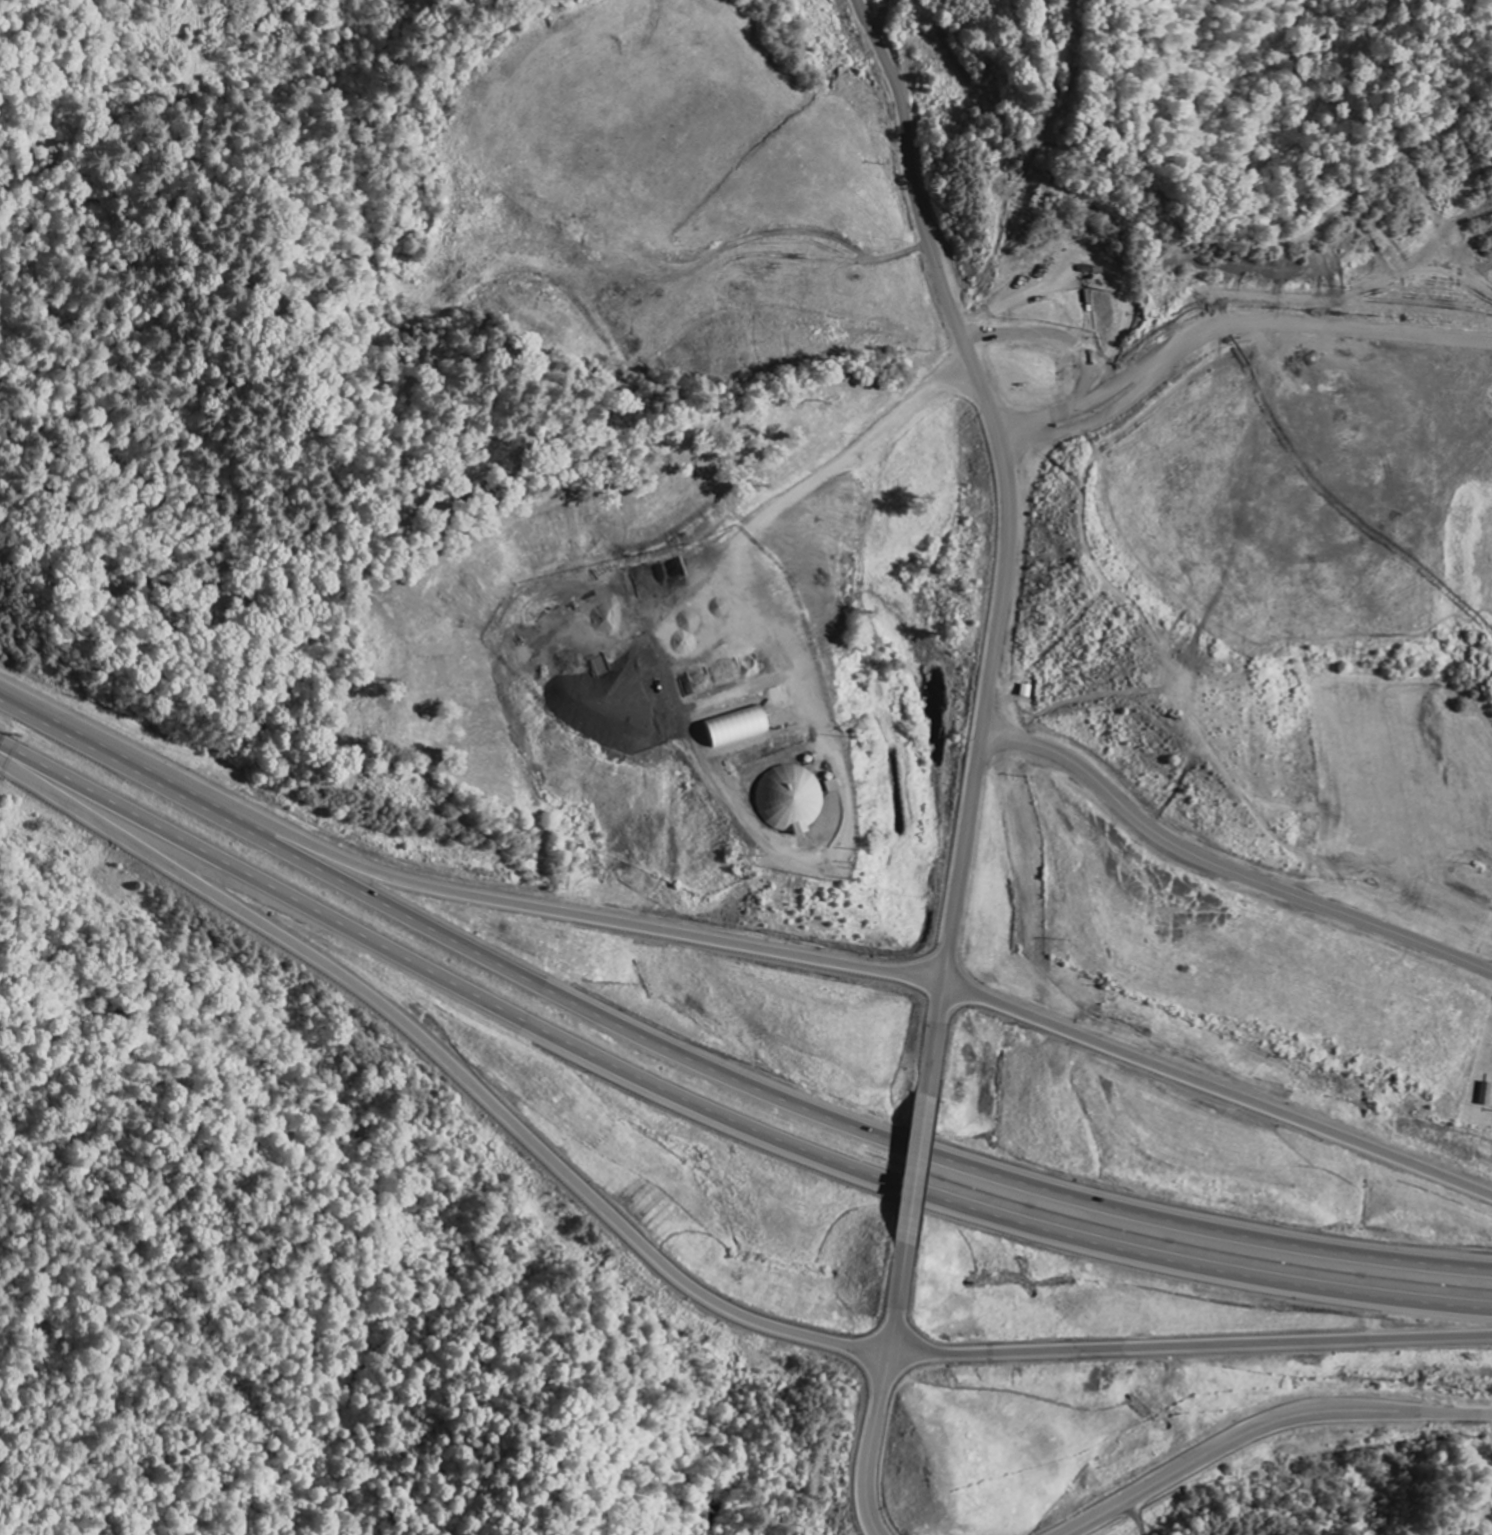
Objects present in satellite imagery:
road: (878, 17)
road: (1229, 331)
road: (1007, 535)
road: (1227, 865)
road: (452, 890)
road: (442, 1057)
road: (714, 1066)
road: (1217, 1087)
building: (1487, 1095)
road: (715, 1115)
road: (914, 1167)
road: (1181, 1346)
road: (880, 1390)
road: (1264, 1426)

